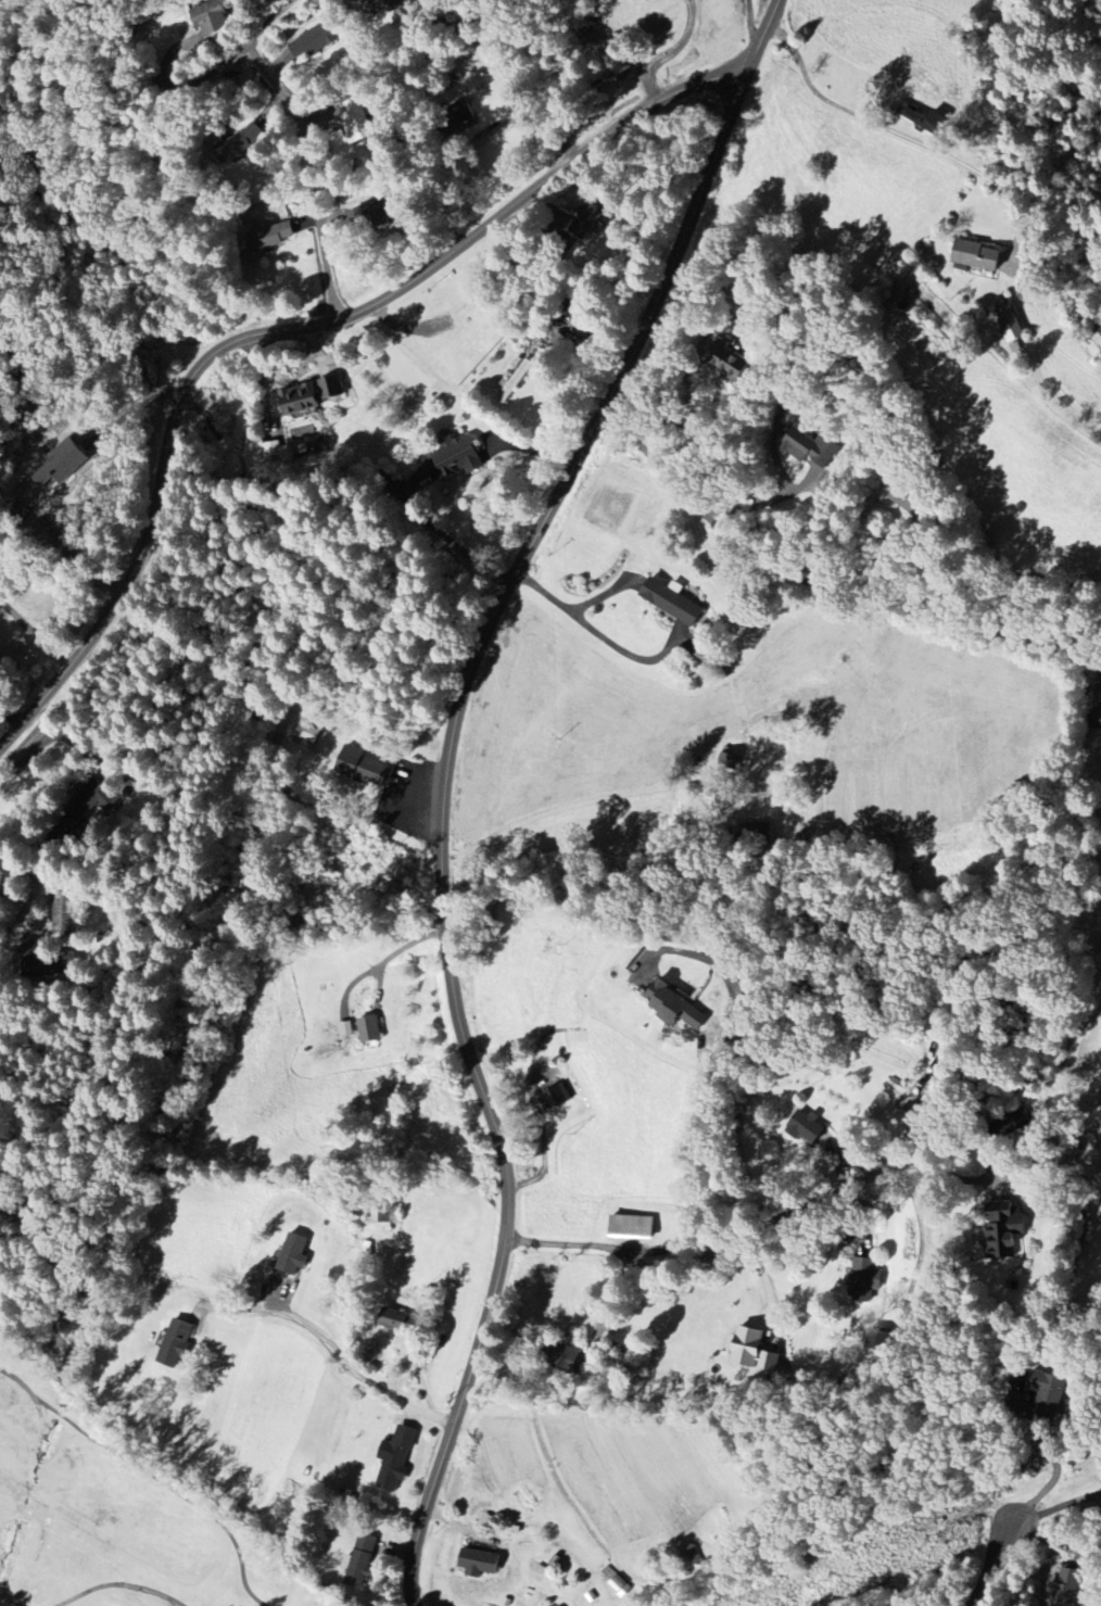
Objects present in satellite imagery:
building: (648, 0)
road: (1094, 2)
building: (379, 7)
building: (211, 18)
road: (750, 25)
road: (672, 52)
road: (156, 59)
building: (922, 121)
building: (356, 125)
road: (890, 130)
road: (312, 175)
building: (269, 233)
building: (977, 257)
road: (326, 324)
building: (1009, 324)
road: (755, 330)
building: (726, 365)
building: (515, 380)
building: (810, 448)
building: (274, 453)
building: (458, 459)
building: (59, 468)
road: (769, 501)
building: (908, 503)
road: (857, 553)
road: (825, 585)
building: (672, 602)
road: (34, 632)
road: (598, 633)
road: (12, 713)
road: (78, 751)
building: (364, 768)
road: (445, 822)
building: (63, 914)
road: (392, 954)
building: (675, 1008)
building: (369, 1029)
road: (945, 1042)
building: (548, 1097)
building: (806, 1128)
road: (543, 1141)
road: (687, 1175)
building: (631, 1228)
building: (1002, 1230)
road: (923, 1243)
road: (720, 1253)
building: (293, 1255)
building: (864, 1279)
road: (607, 1305)
building: (394, 1319)
building: (878, 1340)
building: (176, 1343)
road: (332, 1344)
building: (748, 1349)
building: (561, 1357)
building: (1049, 1394)
building: (395, 1458)
road: (1056, 1464)
road: (1059, 1505)
park: (119, 1512)
road: (459, 1525)
power tower: (952, 1538)
building: (362, 1560)
building: (478, 1564)
road: (995, 1565)
building: (1065, 1589)

